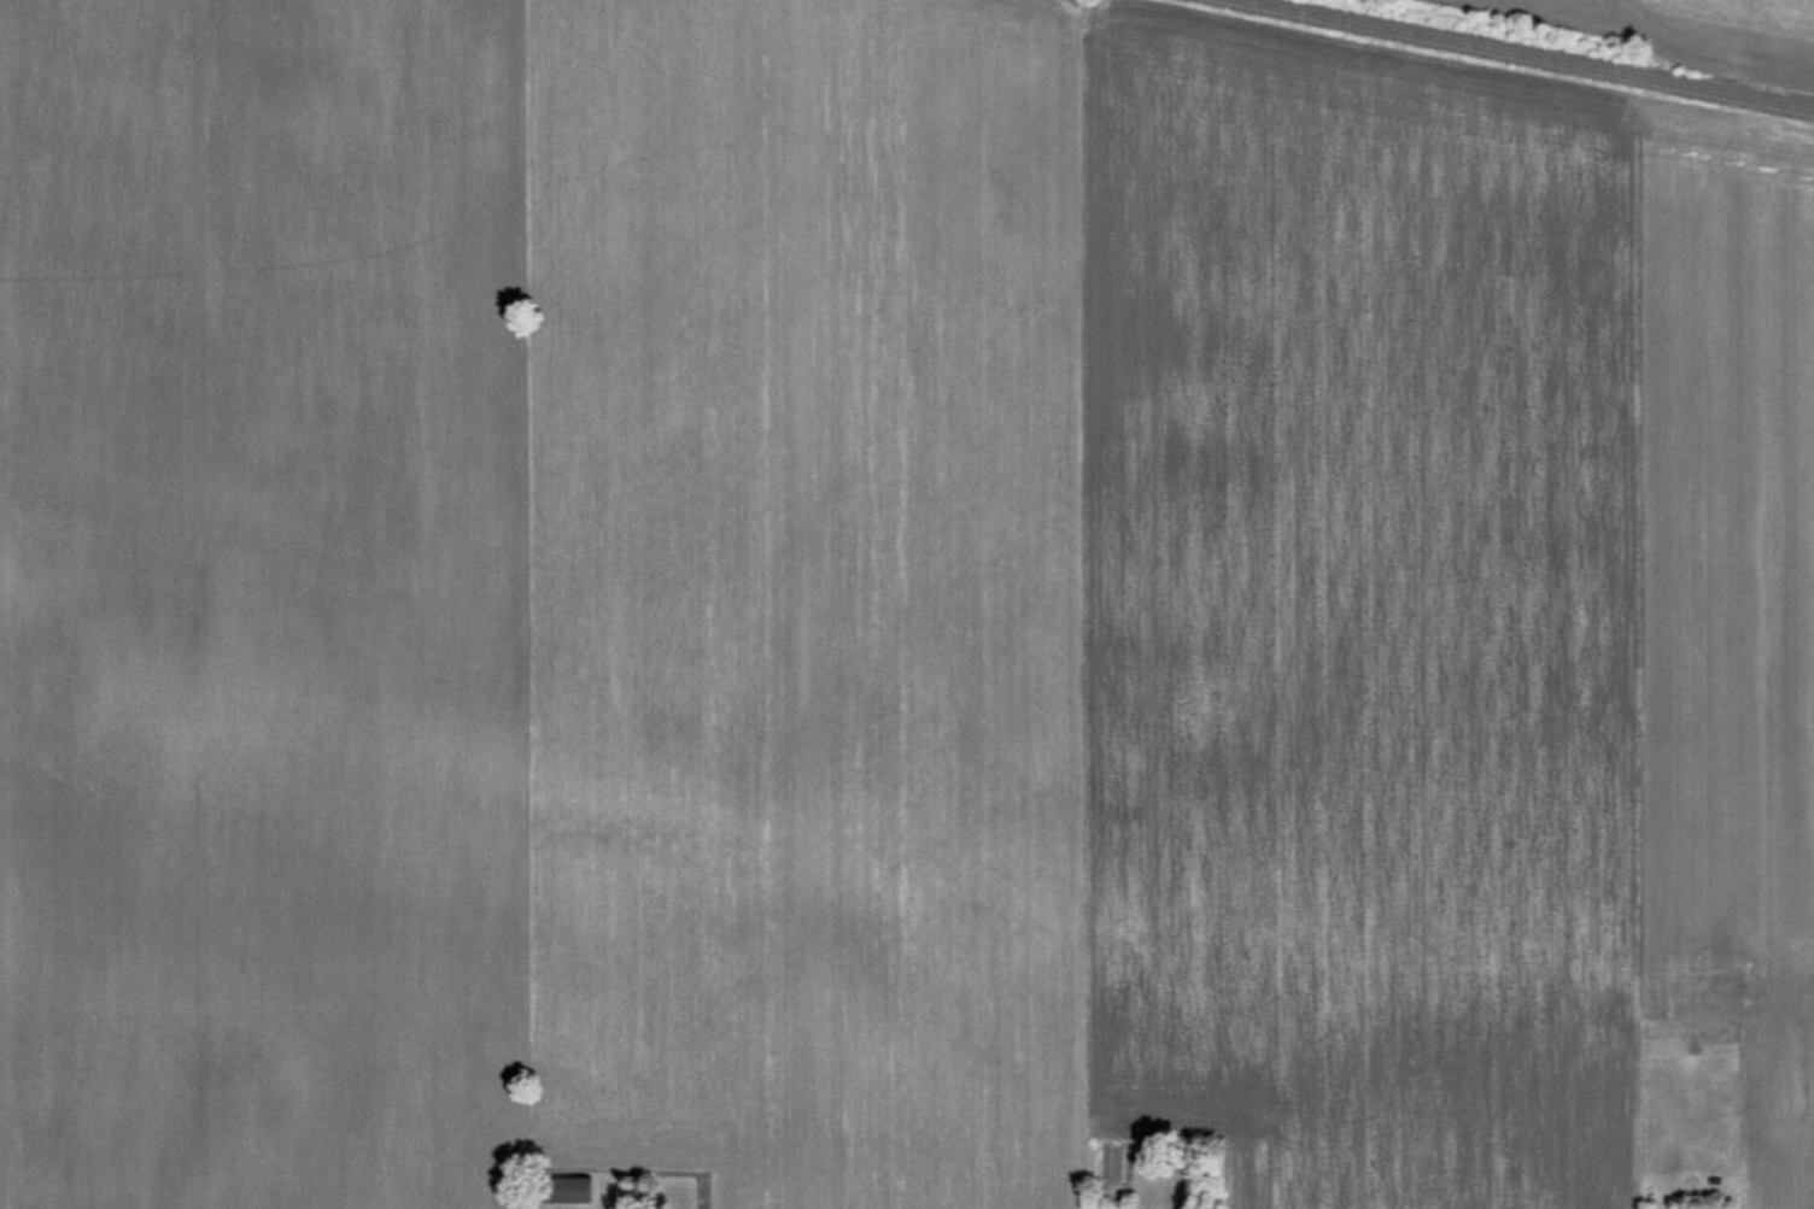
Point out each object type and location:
railway: (1523, 55)

